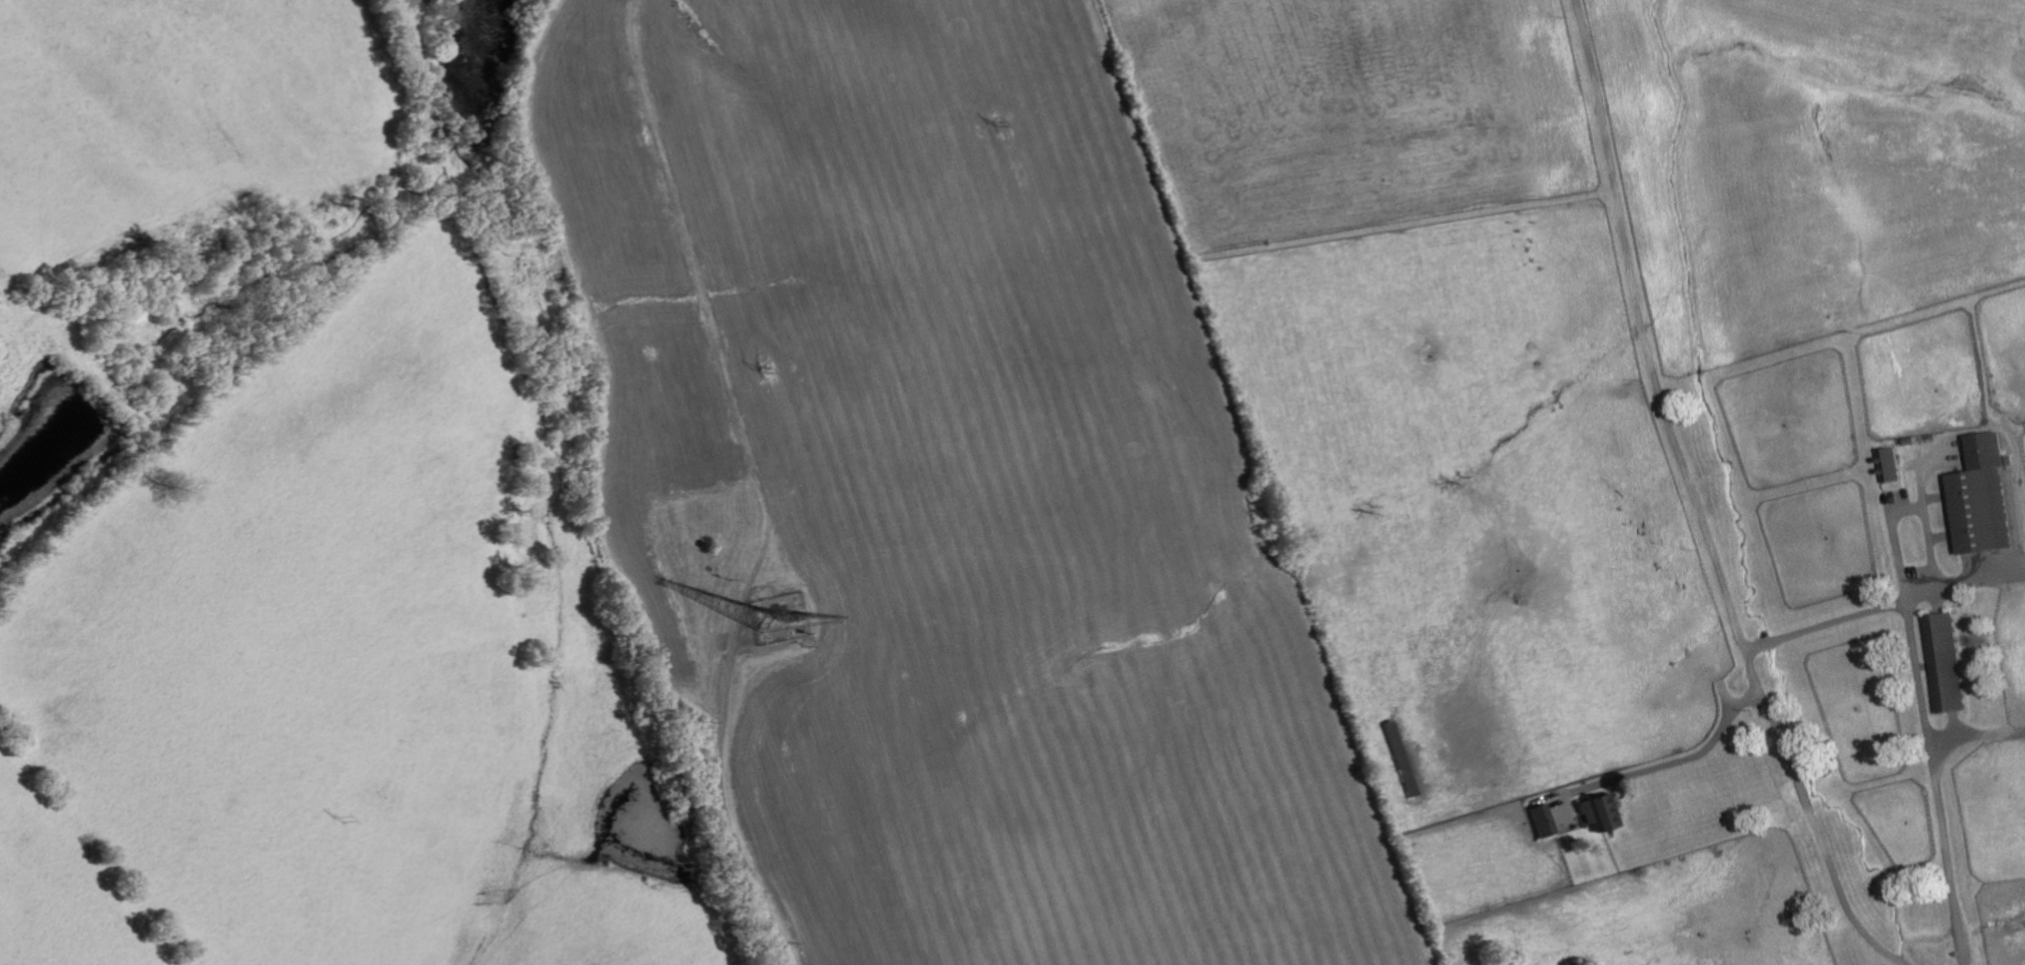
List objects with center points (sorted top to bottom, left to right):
building: (1891, 465)
building: (1984, 496)
road: (1693, 502)
road: (1899, 511)
road: (1882, 606)
road: (1918, 682)
road: (1660, 765)
building: (1600, 814)
road: (1938, 814)
building: (1543, 821)

